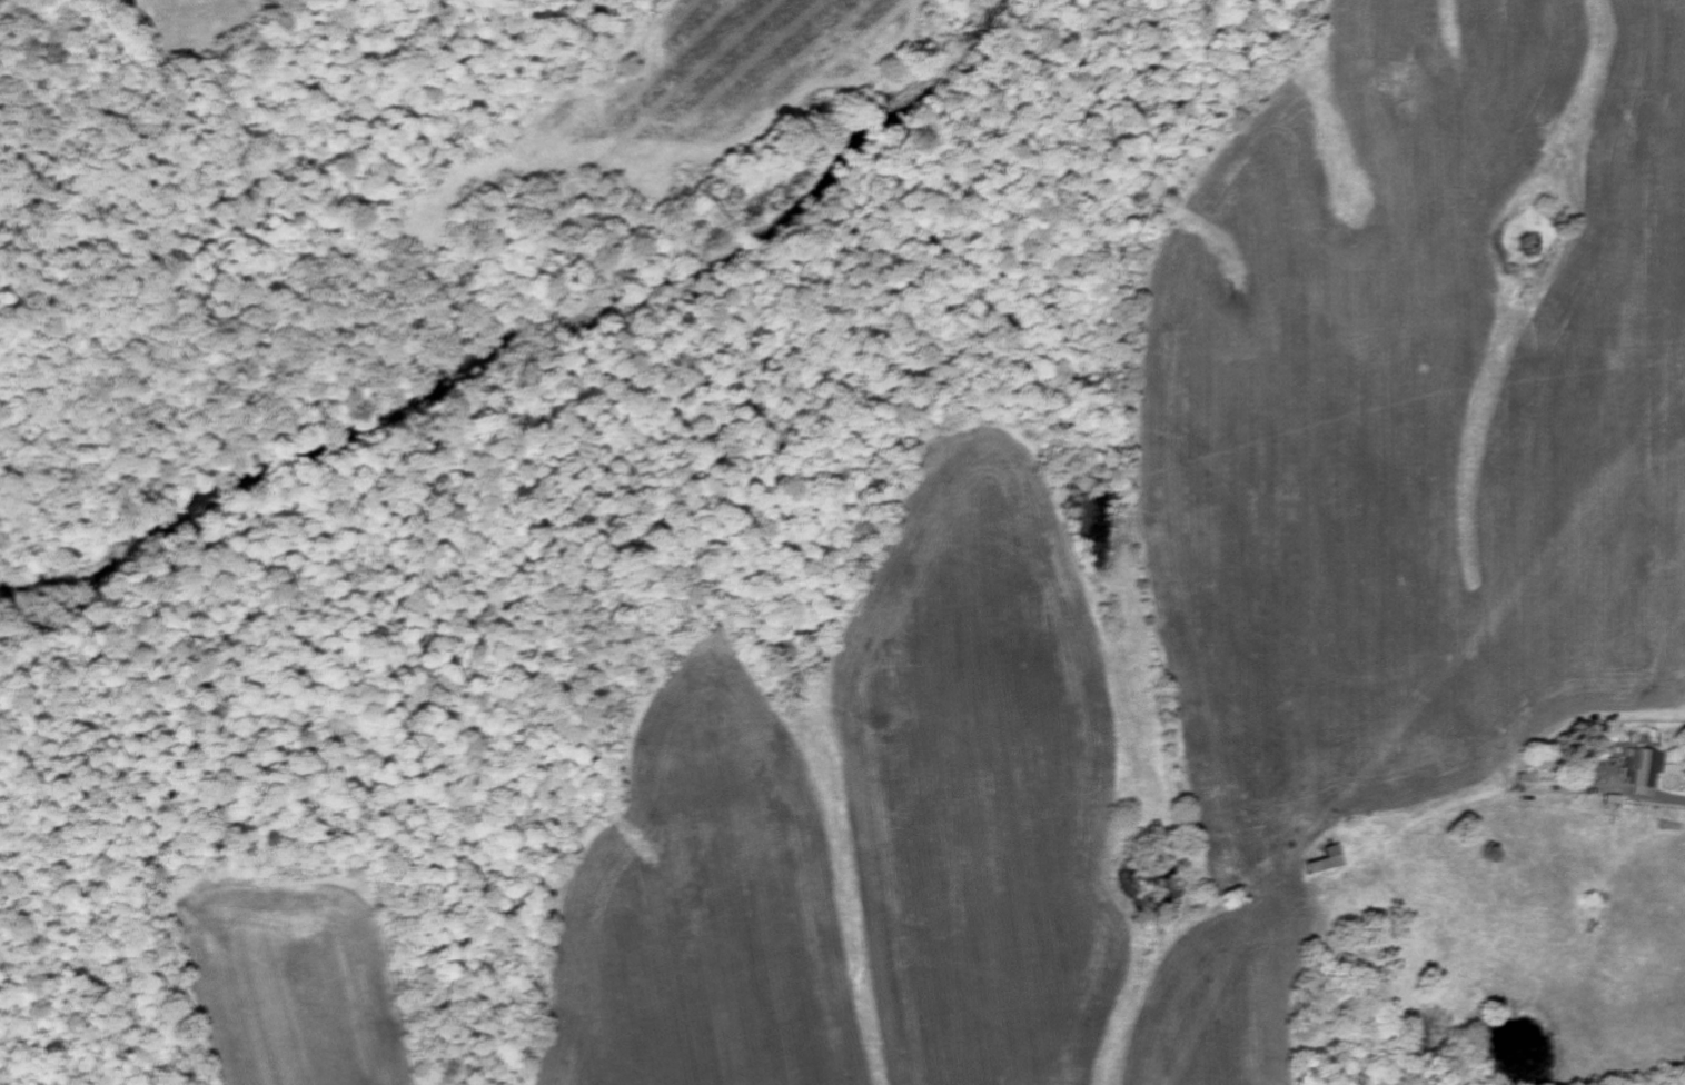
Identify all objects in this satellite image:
building: (1643, 772)
building: (1326, 862)

